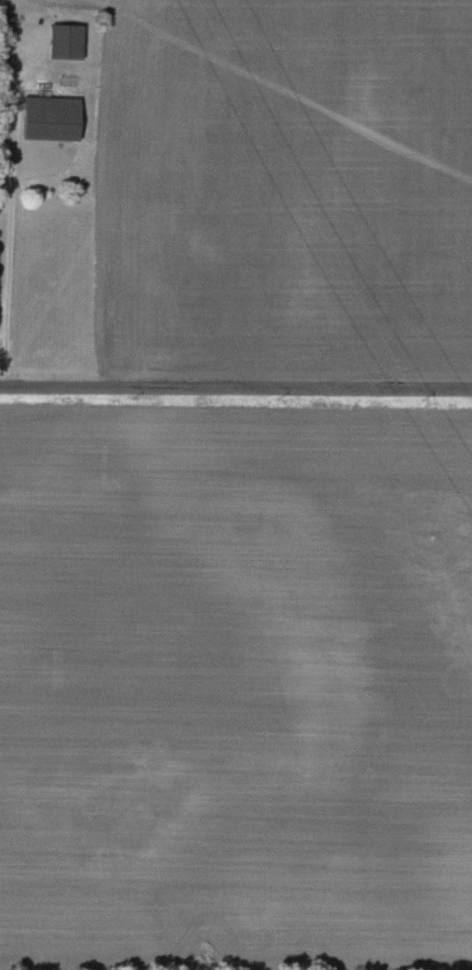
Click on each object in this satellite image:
building: (60, 41)
building: (39, 109)
road: (12, 209)
road: (235, 389)

